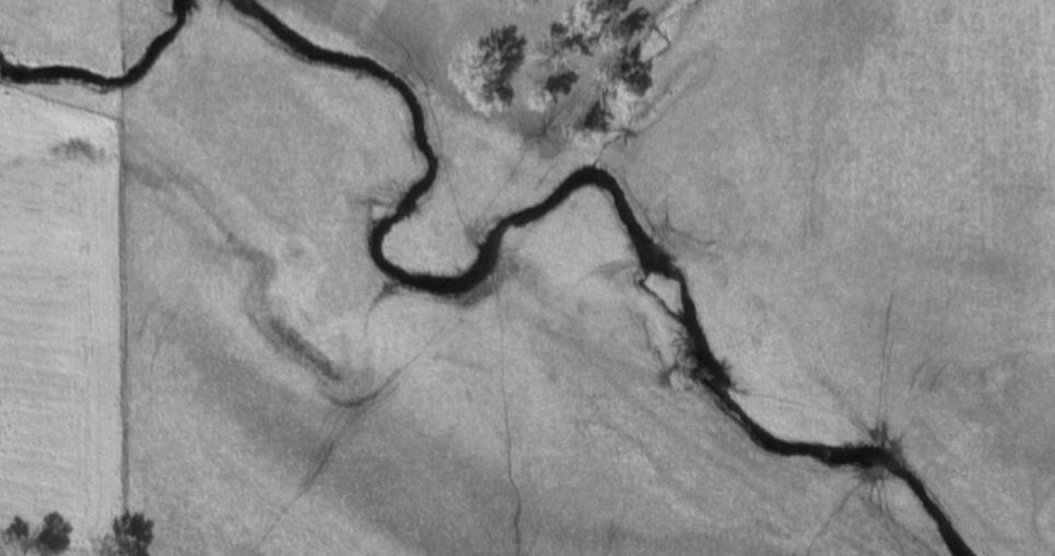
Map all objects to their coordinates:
river: (107, 82)
river: (562, 190)

